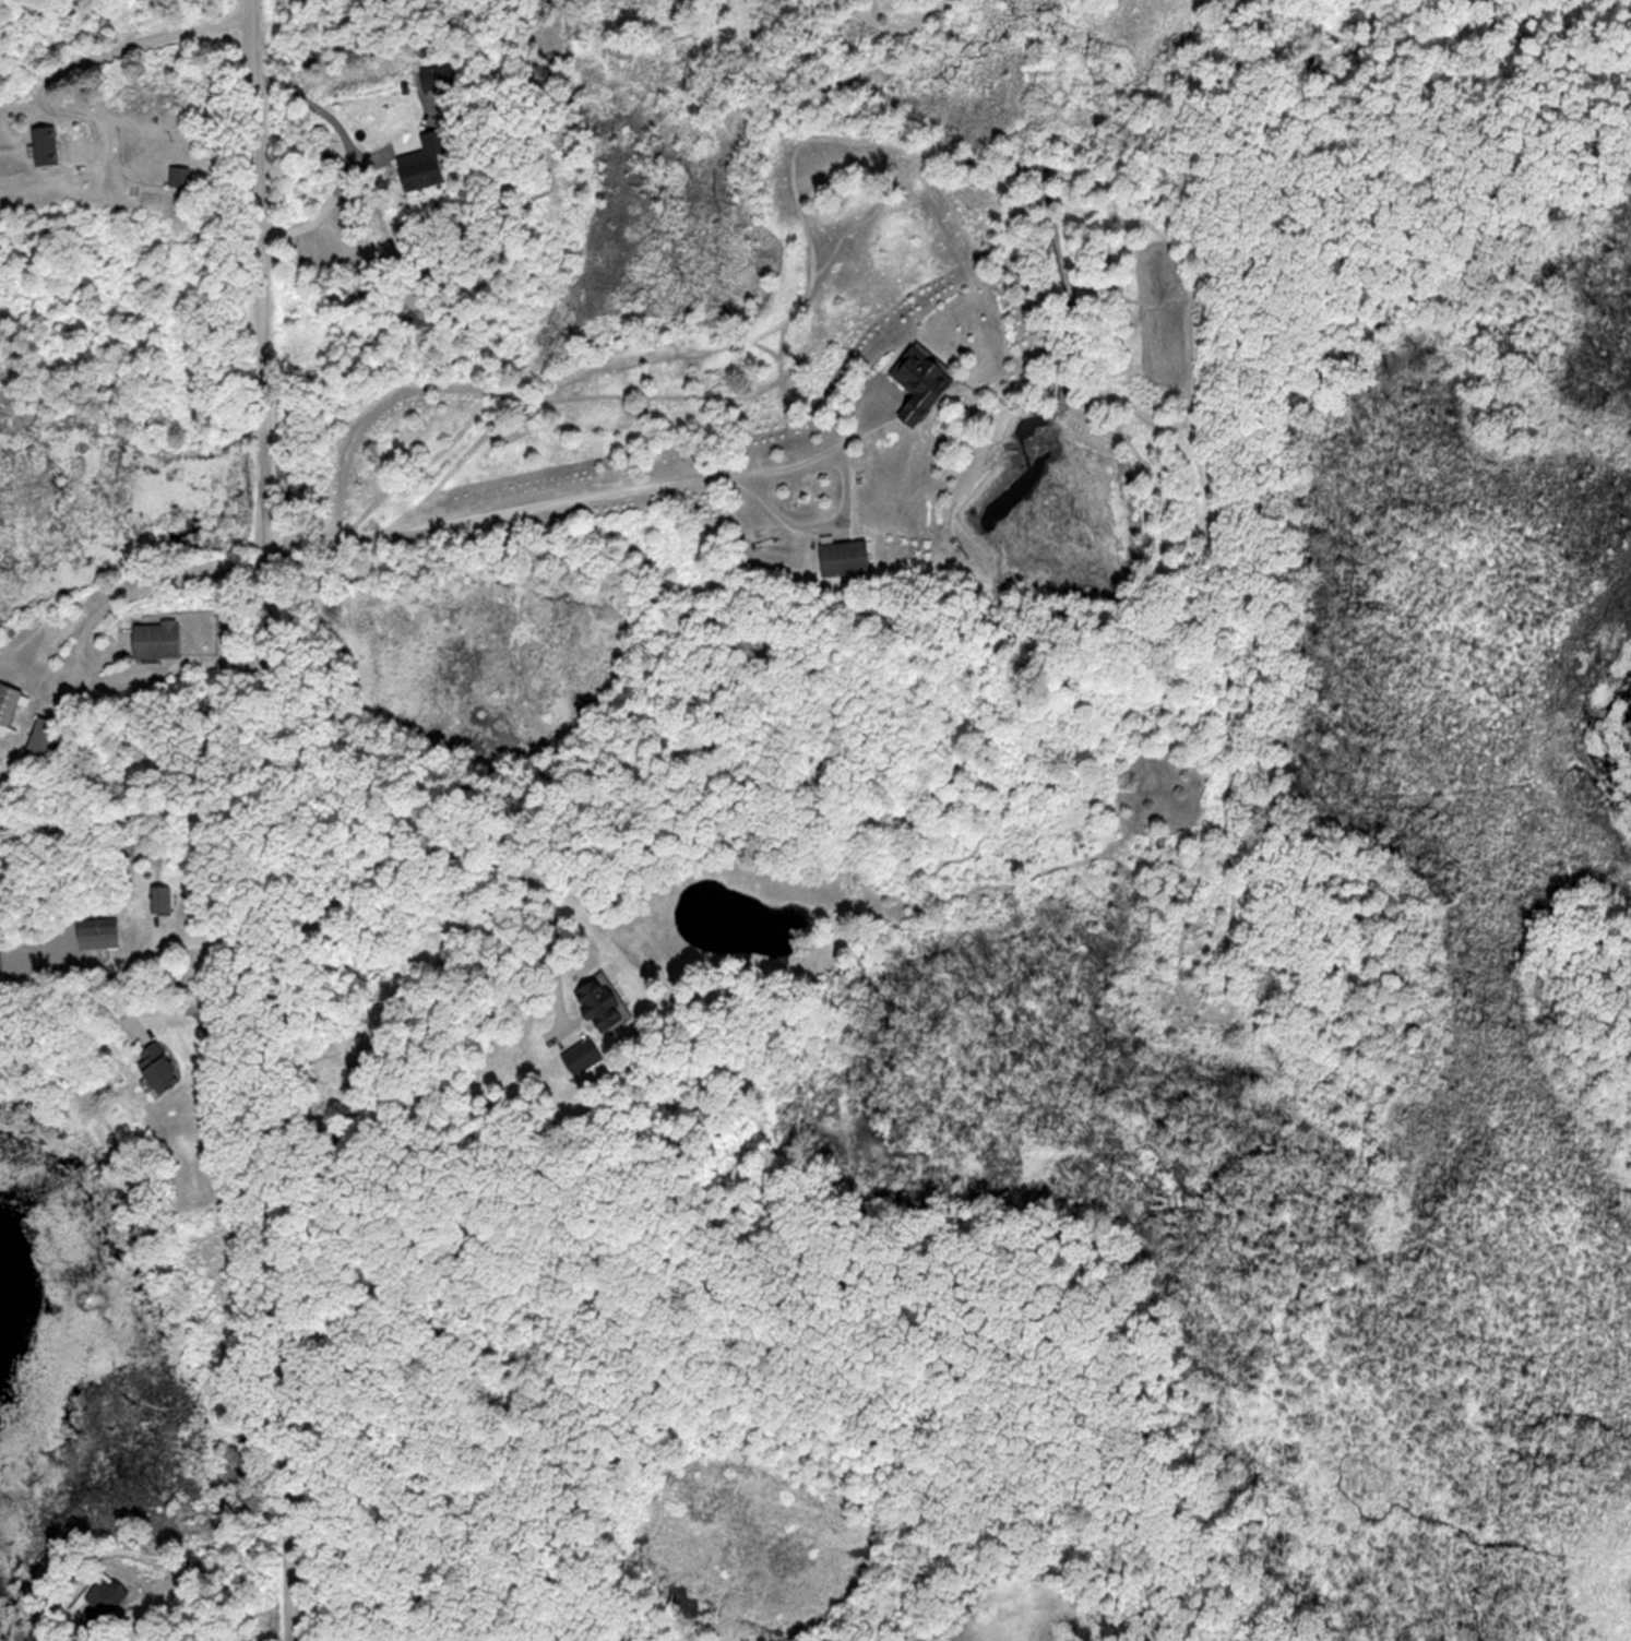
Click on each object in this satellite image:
road: (92, 56)
building: (442, 78)
building: (48, 145)
road: (350, 157)
building: (432, 163)
building: (182, 176)
building: (924, 382)
road: (578, 496)
building: (848, 558)
road: (131, 590)
building: (163, 640)
building: (9, 703)
building: (43, 738)
road: (281, 820)
road: (474, 855)
building: (165, 900)
building: (104, 932)
road: (141, 955)
road: (218, 996)
building: (596, 1000)
road: (222, 1016)
building: (580, 1055)
building: (154, 1067)
park: (1092, 1078)
building: (104, 1593)

